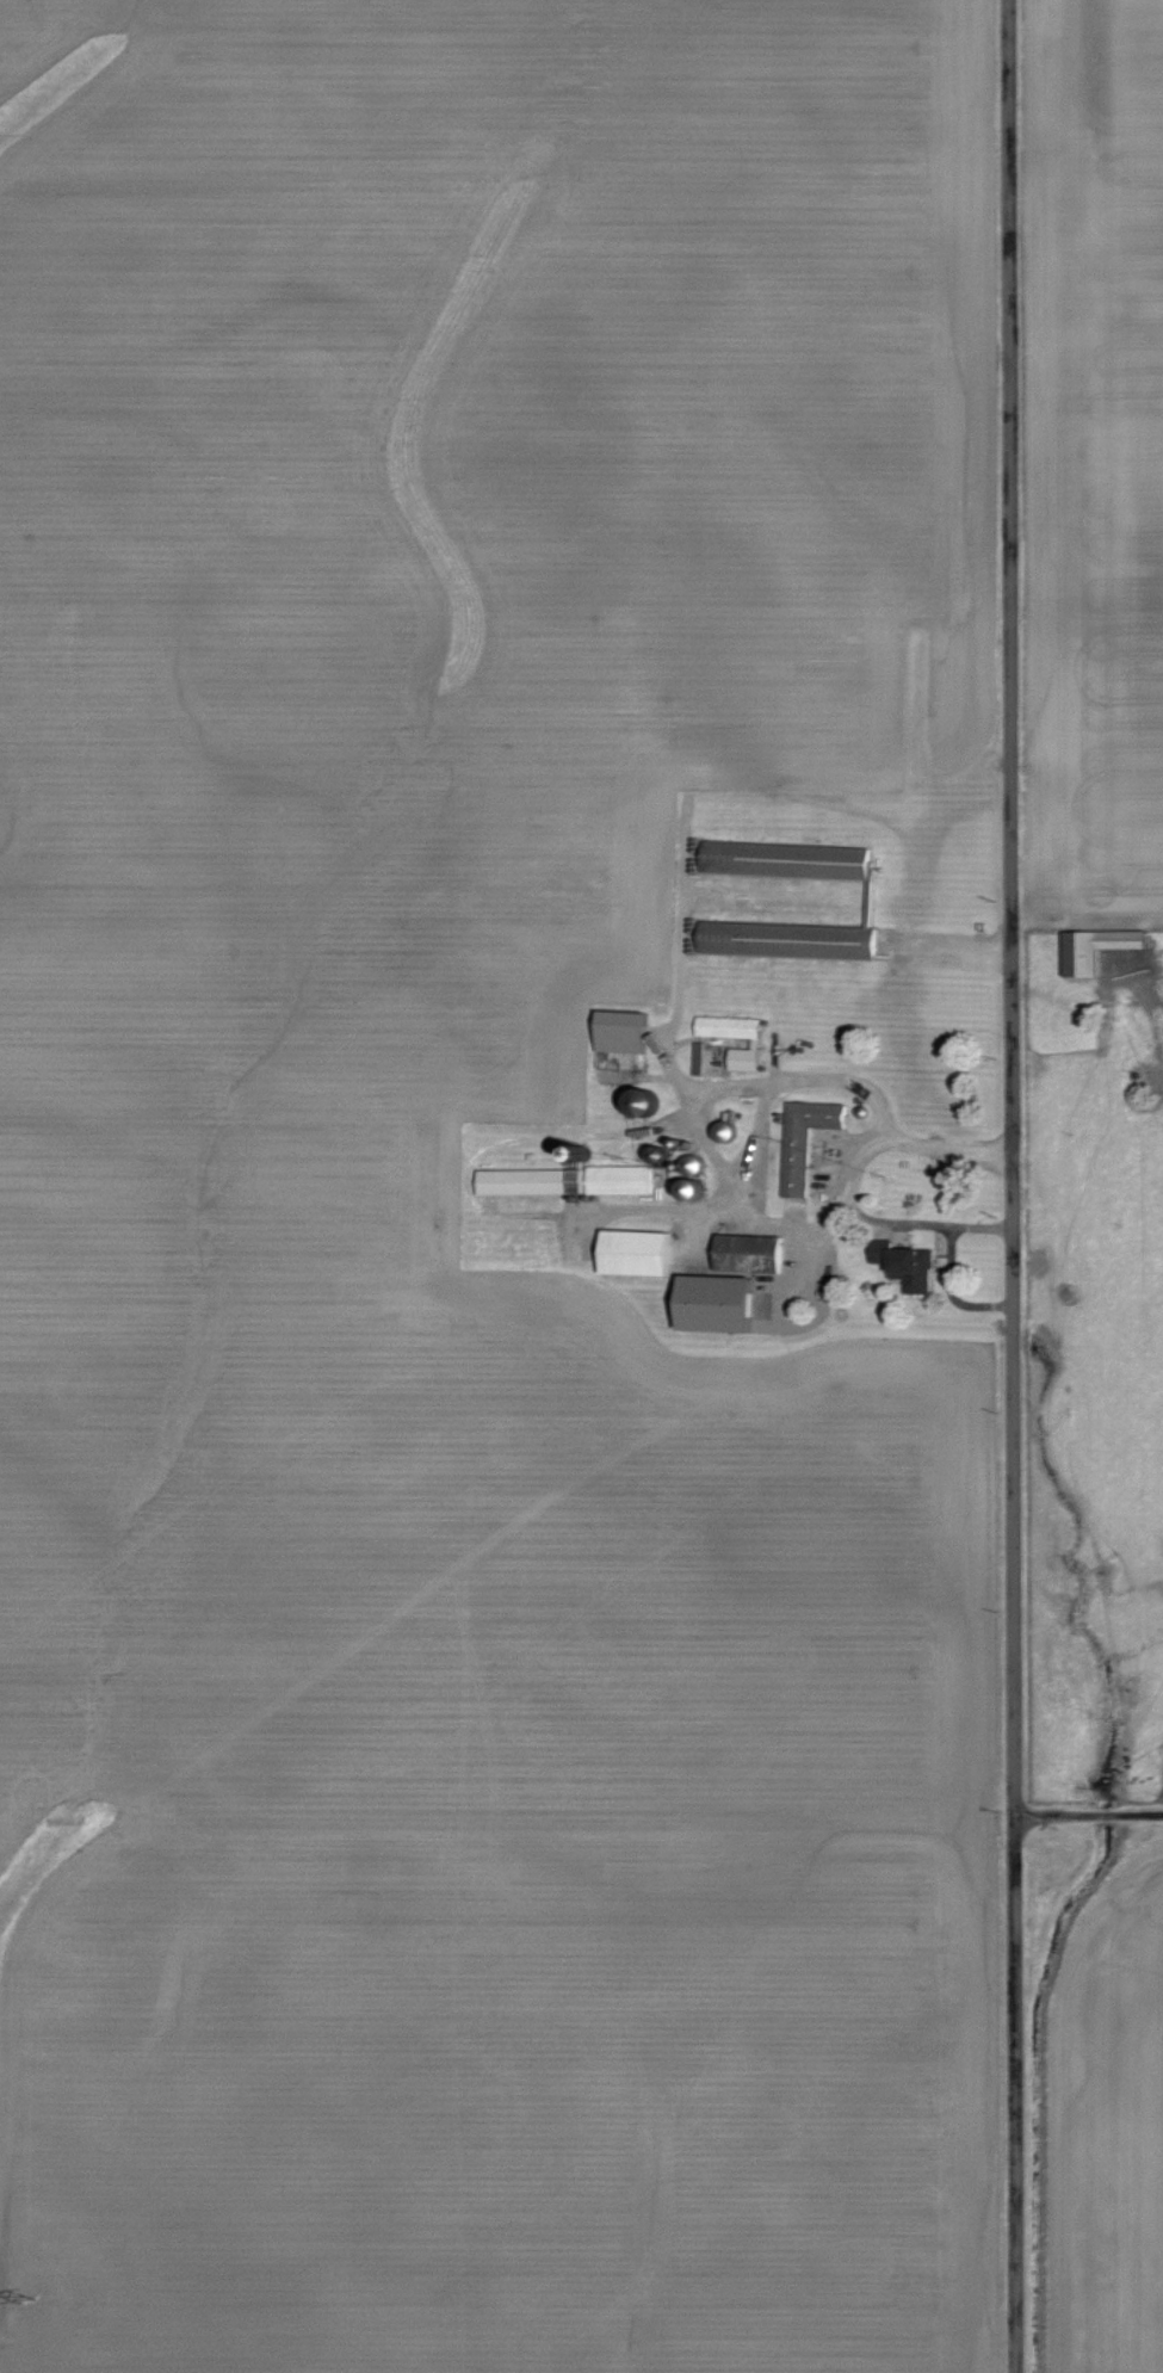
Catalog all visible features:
building: (792, 860)
building: (773, 941)
building: (1093, 948)
road: (680, 982)
building: (629, 1032)
road: (710, 1092)
building: (810, 1139)
building: (569, 1181)
road: (1003, 1186)
building: (642, 1253)
building: (751, 1254)
building: (918, 1269)
building: (724, 1305)
road: (1084, 1812)
power tower: (27, 2300)

